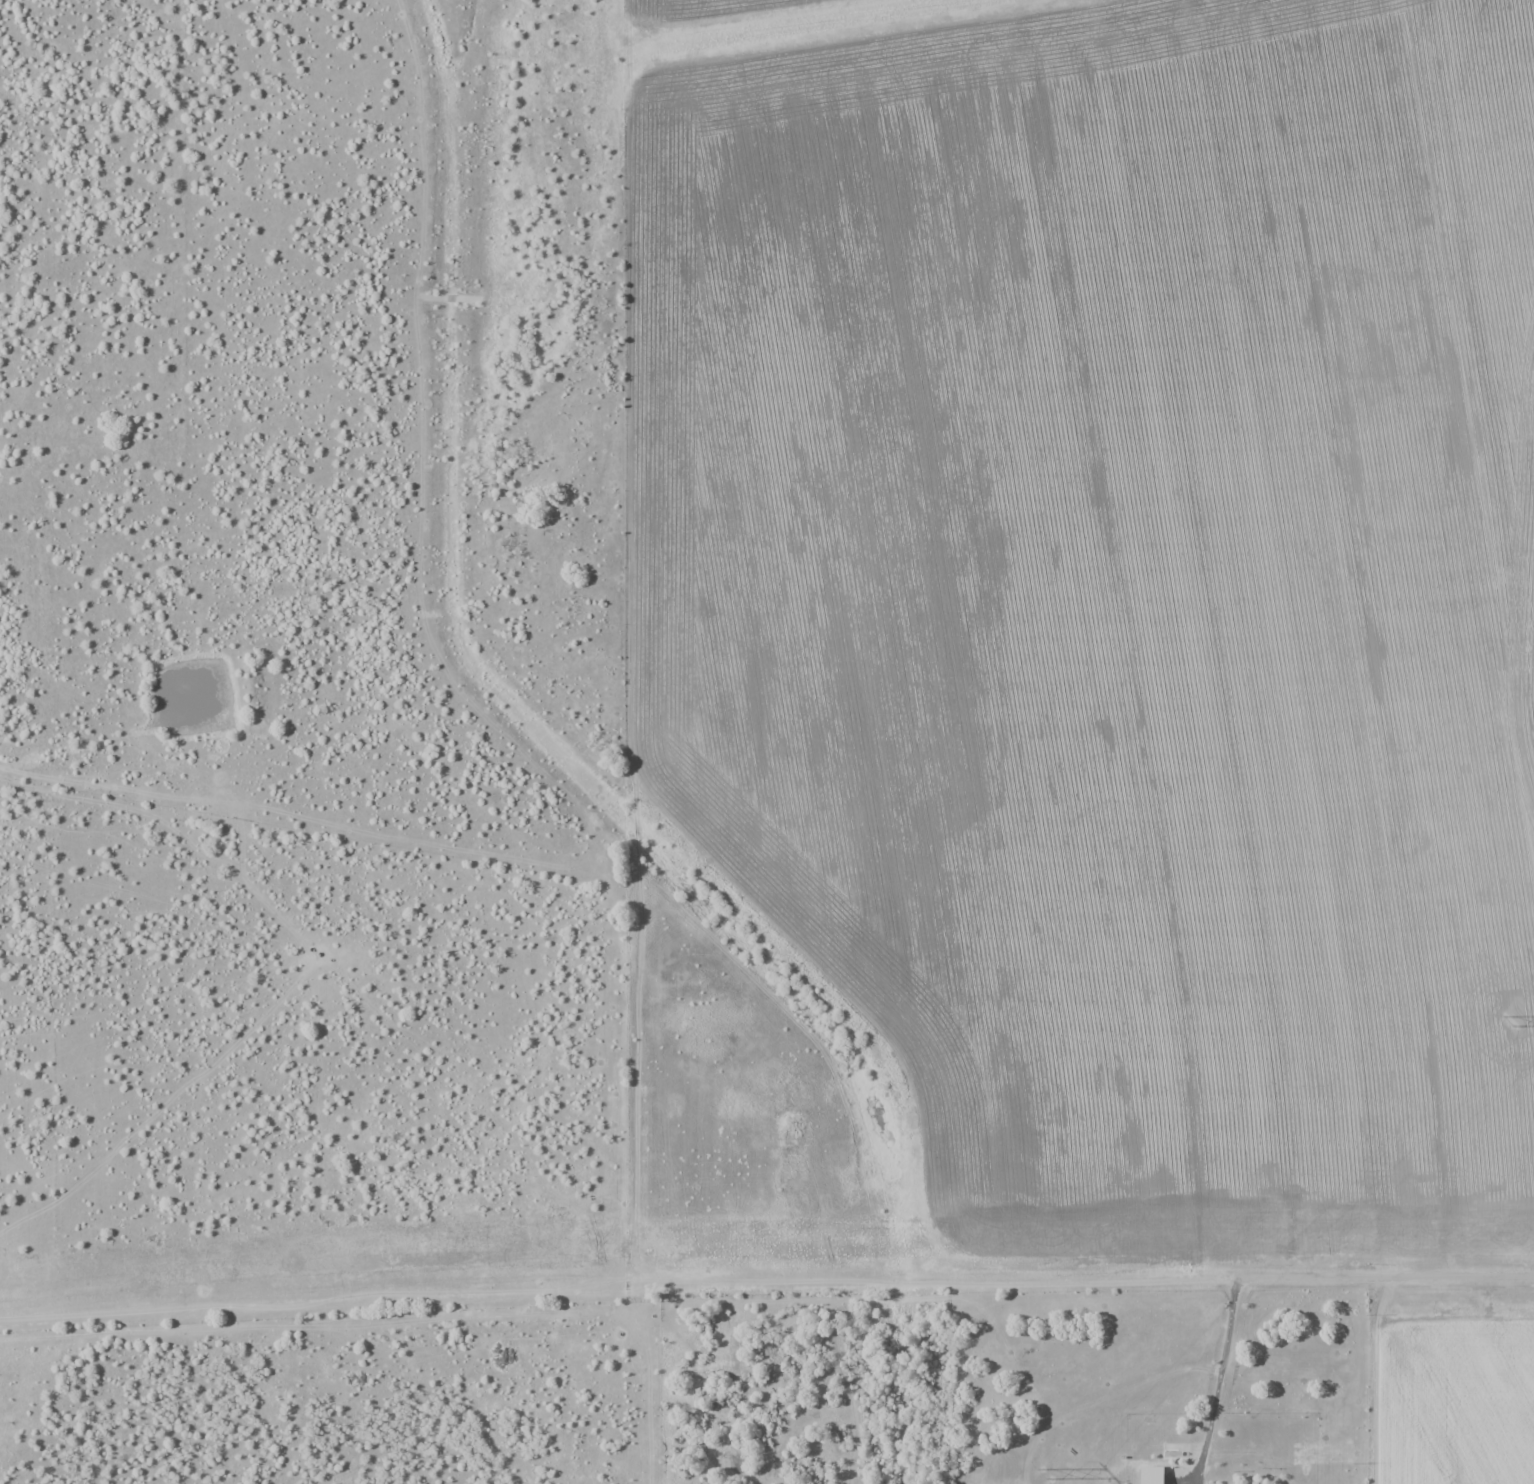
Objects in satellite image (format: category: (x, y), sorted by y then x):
power tower: (1511, 1020)
road: (1280, 1277)
power tower: (1048, 1471)
building: (1149, 1473)

